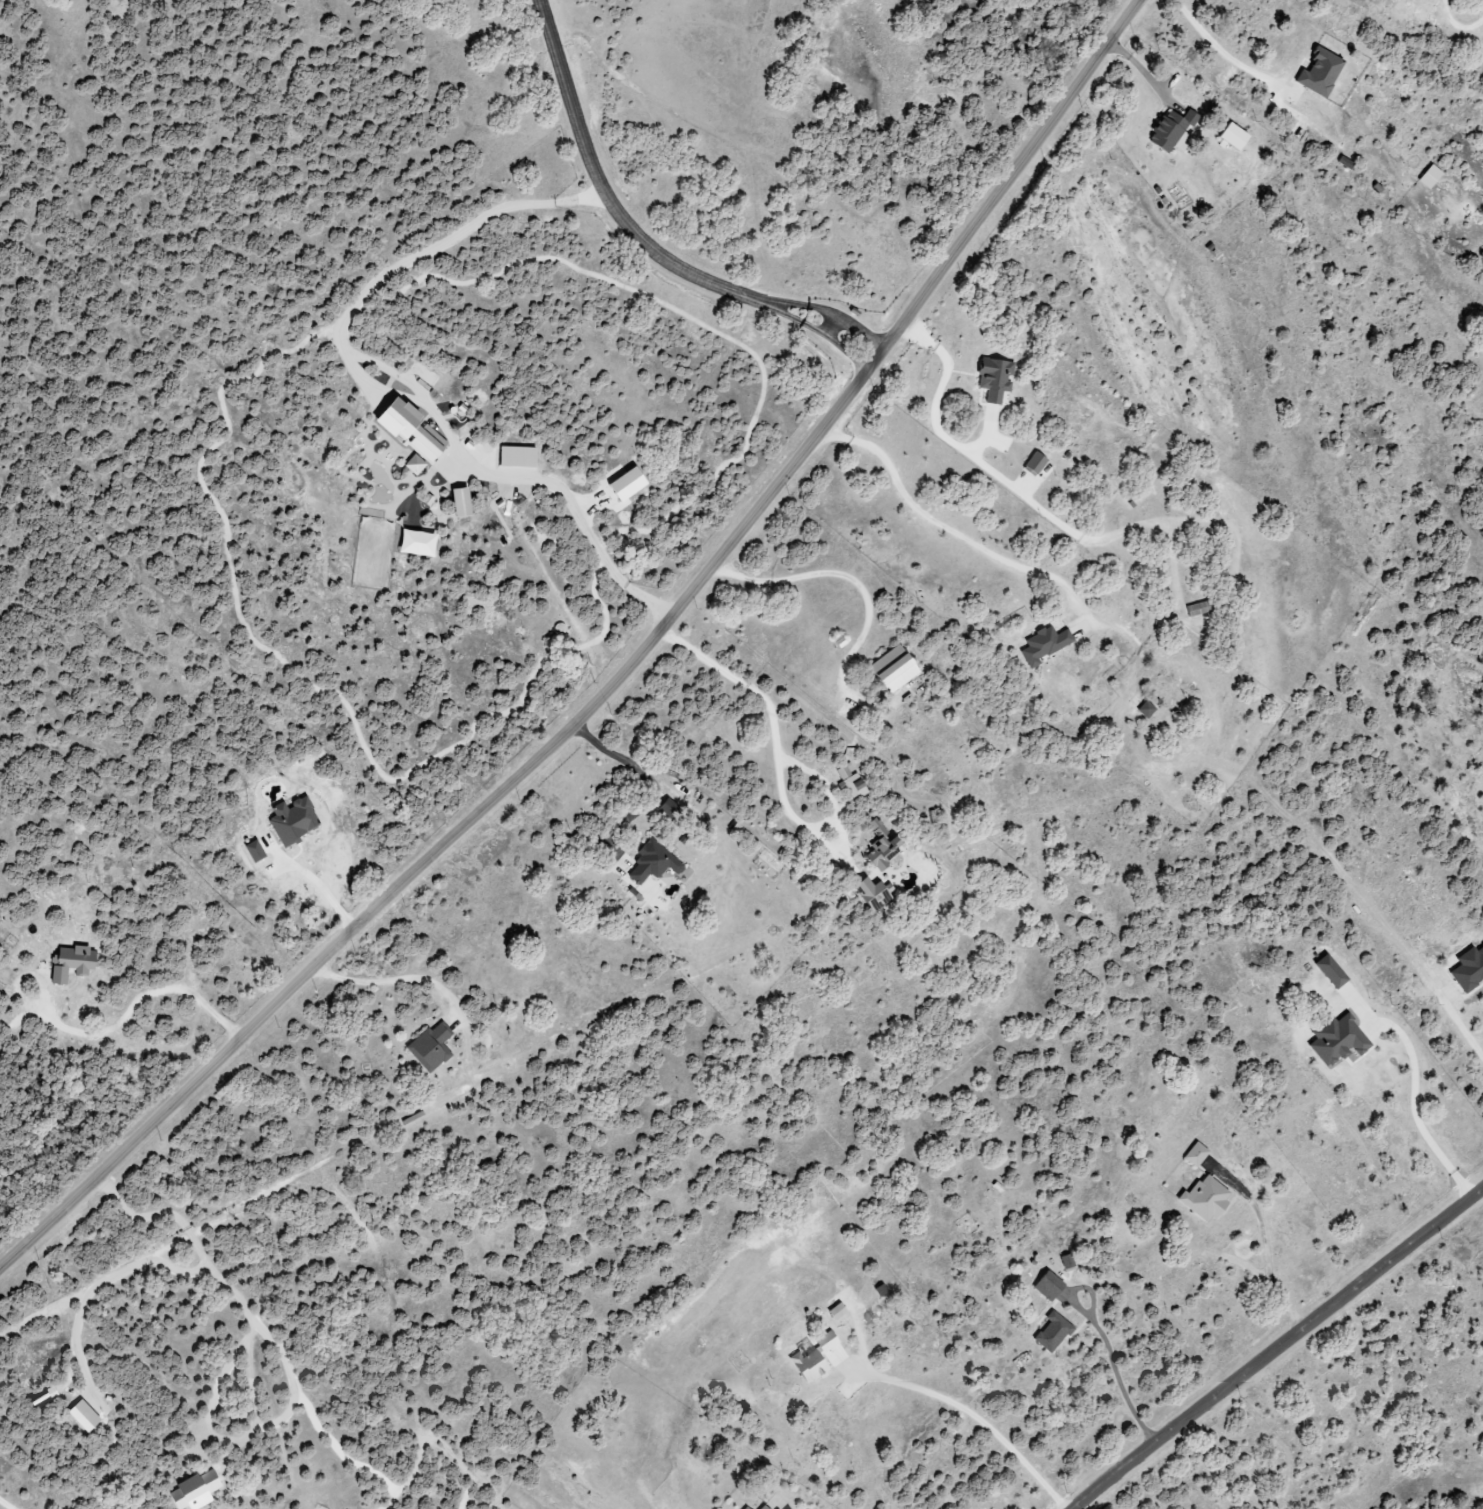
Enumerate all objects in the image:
road: (1219, 50)
road: (1140, 72)
building: (1317, 73)
building: (1168, 130)
building: (1229, 138)
building: (1343, 163)
building: (1426, 177)
road: (1007, 181)
road: (640, 242)
building: (992, 379)
building: (405, 429)
building: (515, 457)
building: (1032, 464)
building: (412, 465)
building: (456, 503)
road: (947, 529)
building: (413, 544)
building: (1196, 609)
building: (1041, 645)
building: (888, 671)
road: (757, 694)
building: (1143, 710)
road: (630, 762)
building: (850, 781)
building: (666, 806)
road: (458, 833)
building: (878, 844)
building: (650, 863)
road: (326, 888)
building: (868, 896)
building: (75, 963)
building: (1467, 968)
building: (1326, 971)
road: (398, 978)
road: (120, 1019)
building: (1333, 1039)
building: (432, 1048)
road: (1416, 1101)
building: (1193, 1154)
building: (1202, 1198)
road: (1267, 1253)
building: (1065, 1262)
building: (1045, 1284)
road: (98, 1285)
road: (227, 1289)
building: (1050, 1332)
road: (1278, 1347)
building: (810, 1358)
road: (1113, 1368)
building: (43, 1400)
road: (978, 1421)
building: (197, 1492)
building: (761, 1507)
building: (745, 1508)

